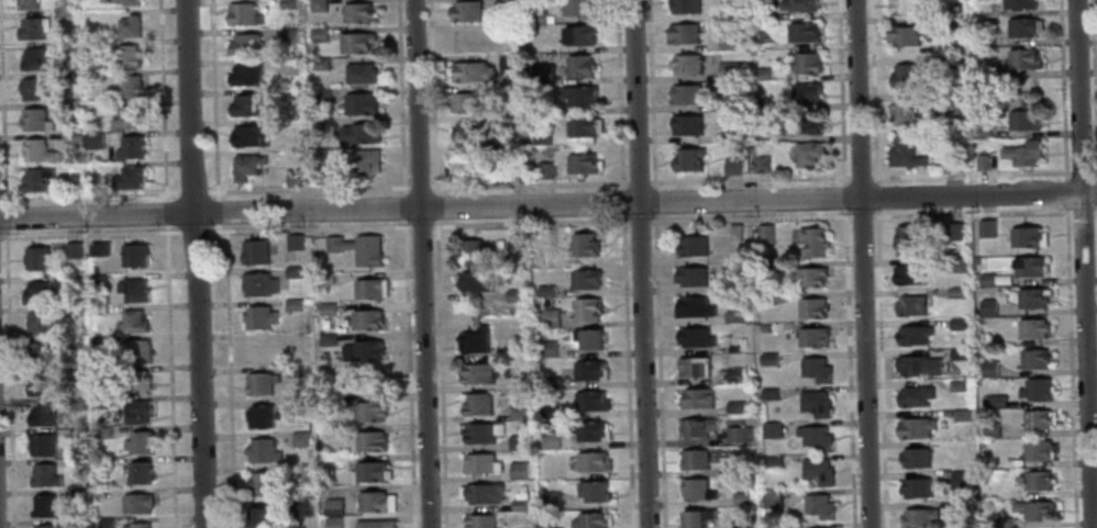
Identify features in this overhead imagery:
building: (126, 2)
building: (506, 2)
building: (27, 4)
building: (288, 4)
building: (801, 4)
building: (1019, 4)
building: (318, 5)
building: (687, 5)
building: (577, 7)
building: (904, 7)
building: (465, 10)
building: (728, 10)
building: (761, 11)
building: (357, 13)
building: (243, 14)
building: (60, 15)
building: (536, 16)
building: (948, 22)
building: (129, 26)
building: (1021, 26)
building: (32, 29)
building: (507, 29)
building: (807, 32)
building: (685, 33)
building: (319, 34)
building: (579, 34)
building: (288, 35)
building: (904, 35)
building: (979, 40)
building: (730, 42)
building: (356, 43)
building: (763, 44)
building: (92, 45)
building: (246, 45)
building: (68, 47)
building: (125, 55)
building: (742, 55)
building: (32, 58)
building: (1022, 58)
building: (508, 61)
building: (809, 61)
building: (688, 64)
building: (949, 64)
building: (319, 65)
building: (579, 65)
building: (288, 67)
building: (729, 69)
building: (472, 70)
building: (982, 70)
building: (542, 74)
building: (763, 74)
building: (361, 75)
building: (65, 76)
building: (247, 76)
building: (92, 77)
building: (906, 77)
building: (131, 86)
road: (1063, 87)
road: (1095, 87)
building: (32, 89)
road: (841, 90)
road: (872, 90)
building: (507, 91)
building: (809, 92)
road: (432, 93)
building: (686, 93)
building: (579, 94)
road: (652, 94)
building: (322, 96)
road: (620, 96)
road: (398, 97)
road: (212, 99)
road: (160, 100)
building: (469, 101)
building: (732, 102)
building: (764, 102)
building: (361, 103)
building: (246, 105)
building: (950, 105)
building: (69, 108)
building: (904, 112)
building: (1024, 116)
building: (91, 117)
building: (126, 117)
building: (35, 120)
building: (509, 121)
building: (811, 123)
road: (2, 124)
building: (688, 124)
building: (319, 128)
building: (580, 130)
building: (763, 131)
building: (982, 131)
building: (469, 132)
building: (732, 132)
building: (359, 134)
building: (247, 136)
building: (69, 137)
building: (541, 137)
building: (95, 139)
building: (130, 147)
building: (35, 150)
building: (904, 151)
building: (1022, 153)
building: (811, 154)
building: (690, 158)
building: (366, 161)
building: (459, 161)
building: (581, 162)
building: (954, 162)
building: (982, 162)
building: (246, 165)
building: (734, 165)
building: (764, 165)
building: (544, 170)
road: (1082, 171)
road: (1096, 171)
road: (973, 172)
building: (322, 175)
road: (873, 175)
road: (860, 176)
building: (129, 177)
building: (292, 178)
road: (749, 178)
building: (35, 180)
building: (92, 180)
road: (638, 180)
building: (73, 181)
road: (528, 183)
road: (419, 188)
road: (307, 189)
road: (1066, 190)
road: (192, 191)
road: (440, 191)
road: (89, 194)
road: (876, 194)
road: (844, 195)
road: (622, 202)
road: (654, 202)
road: (547, 203)
road: (402, 206)
road: (441, 206)
road: (1083, 211)
road: (1096, 211)
road: (164, 212)
road: (215, 212)
road: (974, 212)
road: (864, 215)
road: (622, 217)
road: (4, 218)
road: (750, 218)
road: (639, 221)
road: (441, 222)
road: (529, 224)
road: (418, 226)
road: (215, 227)
road: (307, 228)
building: (986, 228)
road: (192, 232)
building: (738, 232)
building: (766, 232)
road: (89, 234)
building: (1026, 236)
building: (514, 237)
building: (817, 240)
building: (908, 240)
building: (293, 243)
building: (585, 244)
building: (696, 246)
building: (98, 248)
building: (357, 248)
building: (73, 250)
building: (470, 250)
building: (254, 251)
building: (134, 255)
building: (40, 258)
road: (195, 263)
road: (420, 263)
road: (641, 263)
road: (861, 263)
road: (1084, 263)
building: (955, 265)
building: (1028, 266)
building: (295, 271)
building: (909, 273)
building: (694, 276)
building: (811, 276)
building: (326, 278)
building: (585, 278)
building: (985, 279)
building: (74, 280)
building: (97, 281)
building: (477, 282)
building: (258, 284)
building: (133, 289)
building: (370, 289)
building: (545, 291)
building: (955, 291)
building: (35, 293)
building: (513, 294)
building: (1031, 297)
building: (293, 304)
building: (910, 304)
building: (697, 306)
building: (815, 307)
building: (987, 307)
building: (326, 308)
building: (71, 310)
building: (96, 310)
building: (586, 310)
building: (736, 316)
building: (259, 317)
building: (550, 317)
building: (365, 319)
building: (133, 321)
building: (40, 323)
building: (956, 323)
building: (1032, 327)
building: (766, 330)
building: (913, 334)
building: (816, 336)
building: (296, 337)
building: (698, 337)
building: (591, 338)
building: (328, 339)
building: (475, 340)
building: (74, 341)
building: (97, 341)
building: (739, 344)
building: (258, 348)
building: (544, 349)
building: (361, 350)
building: (516, 351)
building: (136, 352)
building: (42, 353)
building: (957, 353)
building: (772, 358)
building: (1033, 358)
building: (696, 366)
road: (882, 367)
building: (916, 367)
road: (1072, 367)
road: (850, 368)
building: (988, 368)
building: (818, 369)
building: (296, 371)
building: (589, 371)
road: (658, 371)
building: (76, 372)
road: (407, 373)
building: (477, 374)
road: (625, 374)
building: (738, 374)
road: (168, 377)
road: (439, 377)
road: (8, 379)
road: (229, 379)
building: (136, 381)
building: (516, 381)
building: (261, 383)
building: (552, 383)
building: (40, 384)
building: (1037, 390)
building: (772, 393)
building: (915, 395)
building: (698, 397)
building: (996, 400)
building: (590, 401)
building: (75, 403)
building: (330, 403)
building: (476, 403)
building: (818, 403)
building: (299, 406)
building: (738, 406)
building: (136, 411)
building: (368, 411)
building: (548, 411)
building: (517, 412)
building: (42, 415)
building: (961, 415)
building: (261, 416)
building: (1037, 418)
building: (698, 427)
building: (915, 428)
building: (775, 429)
building: (990, 429)
building: (588, 431)
building: (101, 432)
building: (479, 432)
building: (78, 434)
building: (742, 434)
building: (818, 437)
building: (548, 438)
building: (300, 439)
building: (370, 441)
building: (138, 442)
building: (517, 442)
building: (42, 445)
building: (1038, 449)
building: (262, 450)
building: (321, 450)
building: (742, 453)
building: (913, 458)
building: (696, 459)
building: (591, 462)
building: (775, 462)
building: (78, 463)
building: (103, 463)
building: (480, 463)
building: (300, 471)
building: (518, 471)
building: (821, 471)
building: (136, 472)
building: (372, 472)
building: (43, 474)
building: (1037, 480)
building: (963, 481)
building: (261, 483)
building: (916, 487)
building: (700, 490)
building: (592, 491)
building: (480, 493)
building: (78, 494)
building: (743, 497)
building: (774, 498)
building: (550, 499)
building: (375, 502)
building: (136, 503)
building: (43, 505)
building: (519, 505)
building: (821, 505)
building: (333, 506)
building: (300, 507)
building: (964, 507)
building: (1034, 509)
building: (258, 517)
building: (918, 517)
building: (699, 518)
building: (479, 520)
building: (591, 520)
building: (106, 523)
building: (333, 523)
building: (1002, 523)
building: (80, 524)
building: (375, 524)
building: (136, 525)
building: (45, 526)
building: (822, 527)

